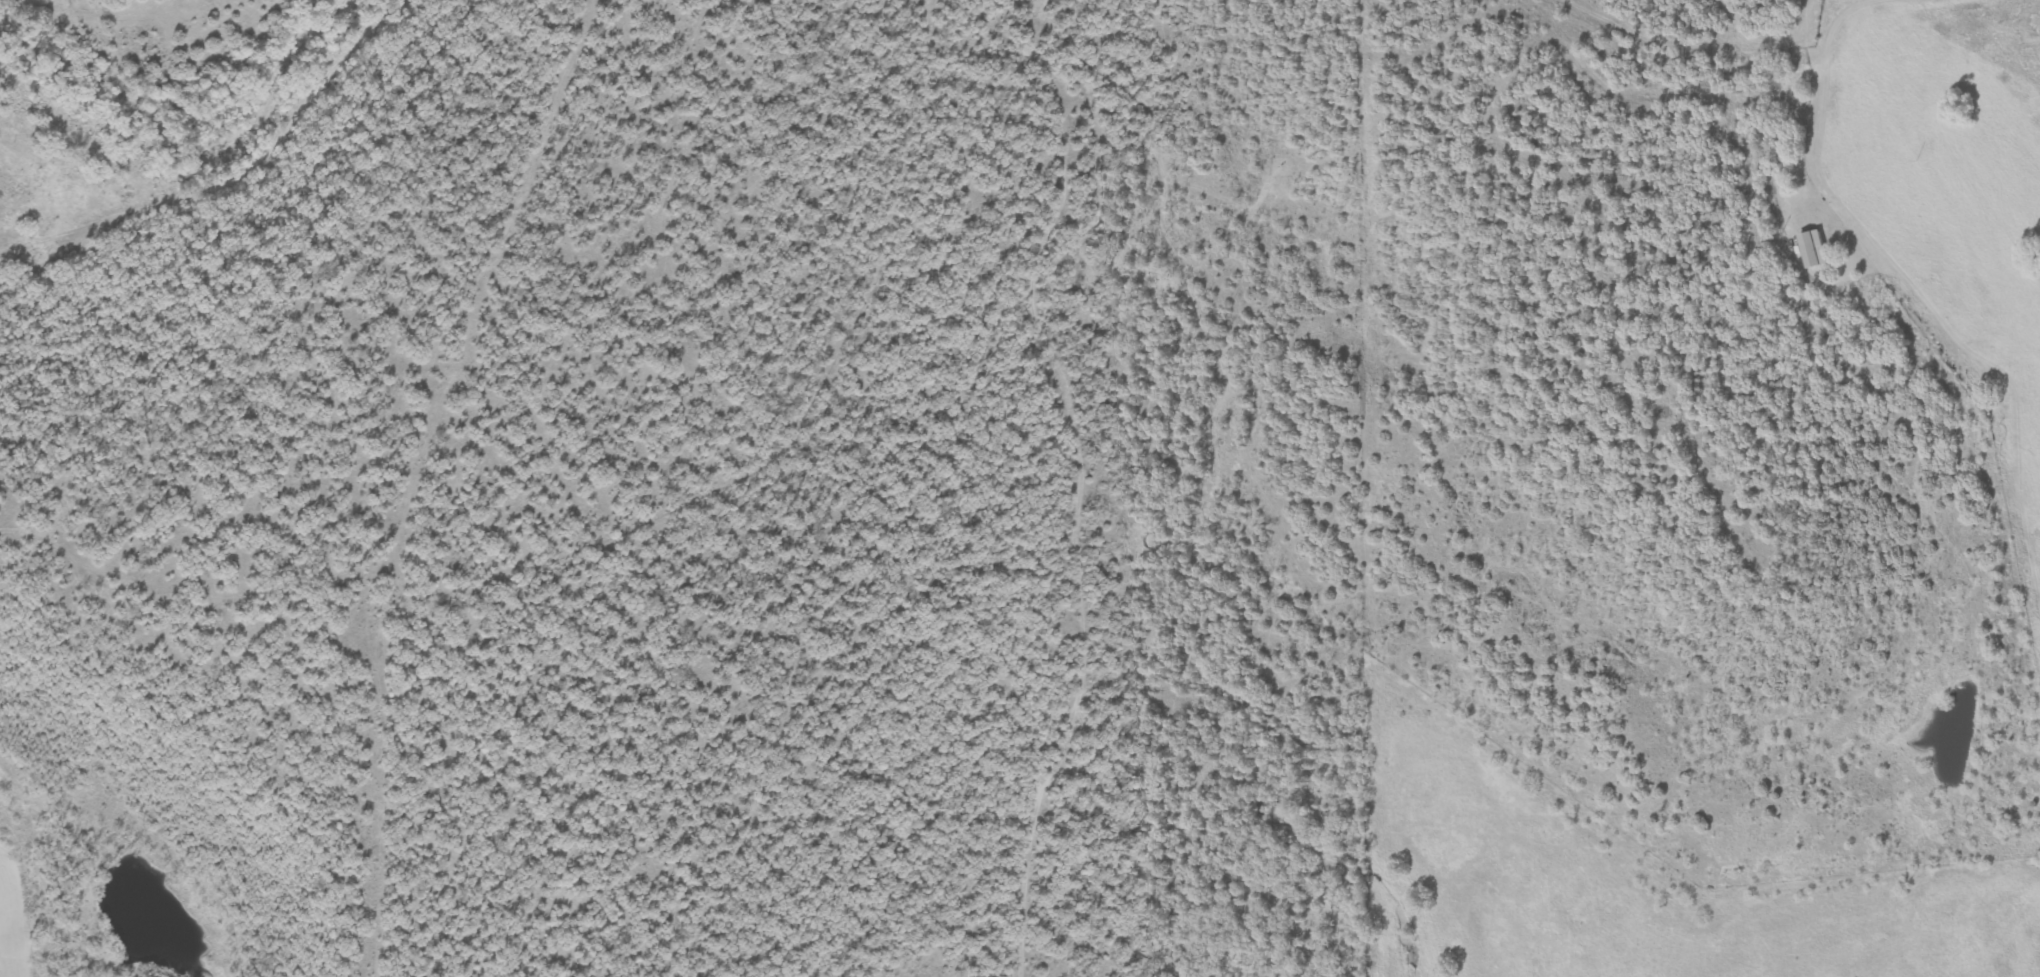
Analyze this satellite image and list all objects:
building: (1814, 249)

